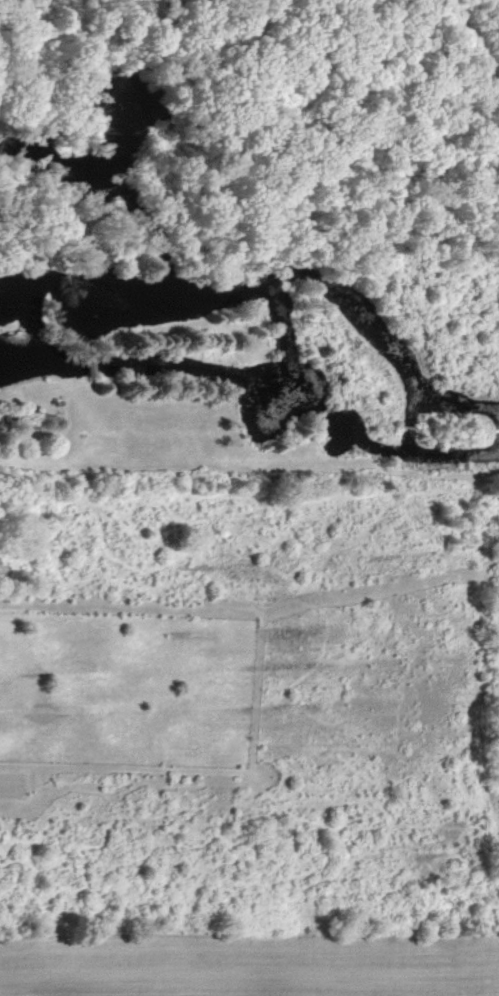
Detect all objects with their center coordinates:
road: (470, 45)

